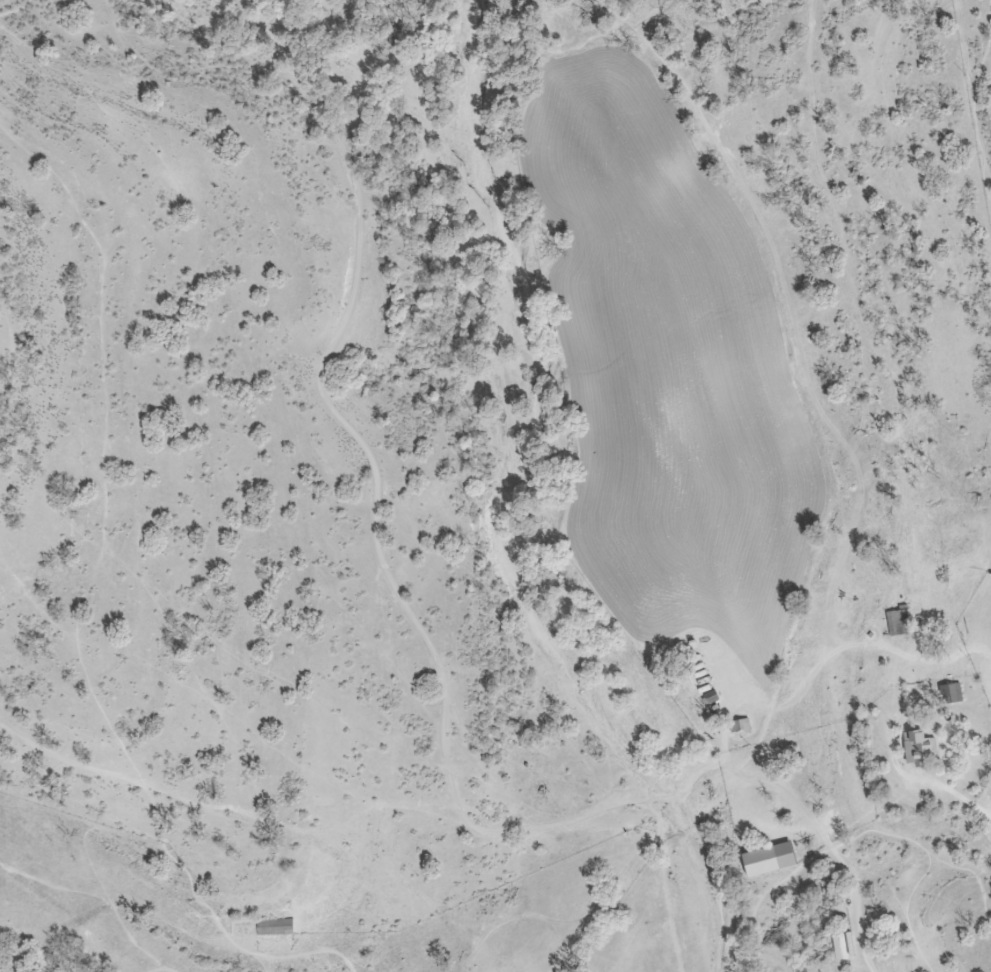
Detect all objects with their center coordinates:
road: (16, 10)
road: (973, 101)
road: (10, 346)
road: (102, 446)
road: (374, 479)
building: (897, 621)
road: (855, 649)
building: (951, 693)
building: (710, 696)
building: (740, 726)
building: (918, 748)
road: (98, 770)
road: (954, 792)
road: (797, 804)
road: (847, 840)
building: (767, 859)
road: (664, 886)
road: (907, 911)
road: (521, 916)
building: (274, 926)
road: (238, 946)

